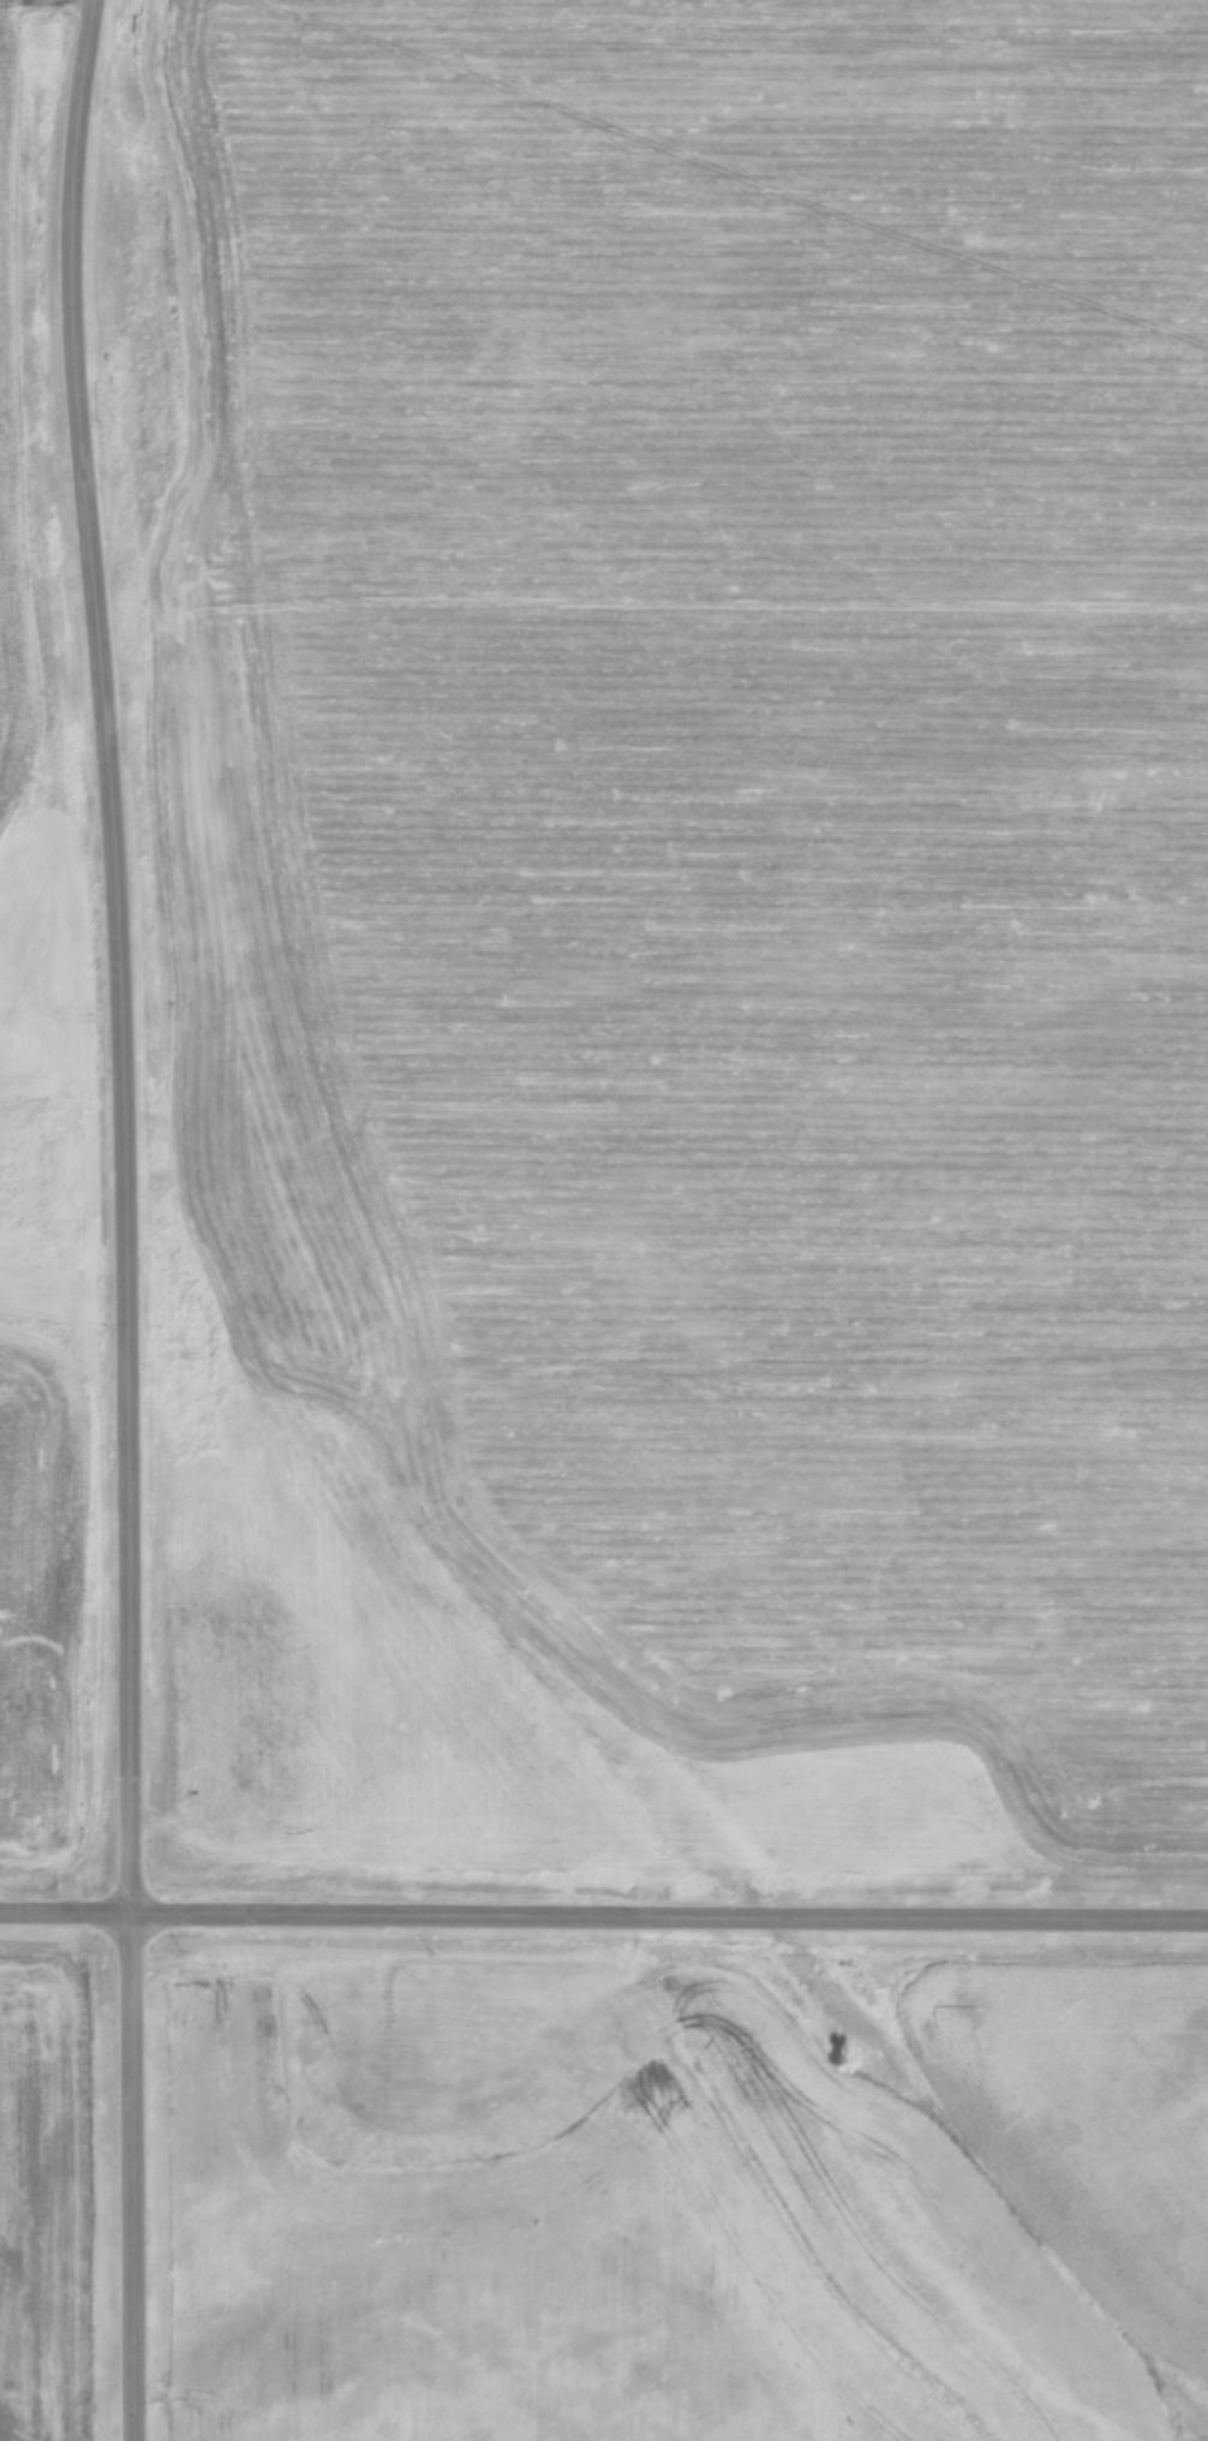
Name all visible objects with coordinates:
road: (125, 1218)
road: (603, 1921)

